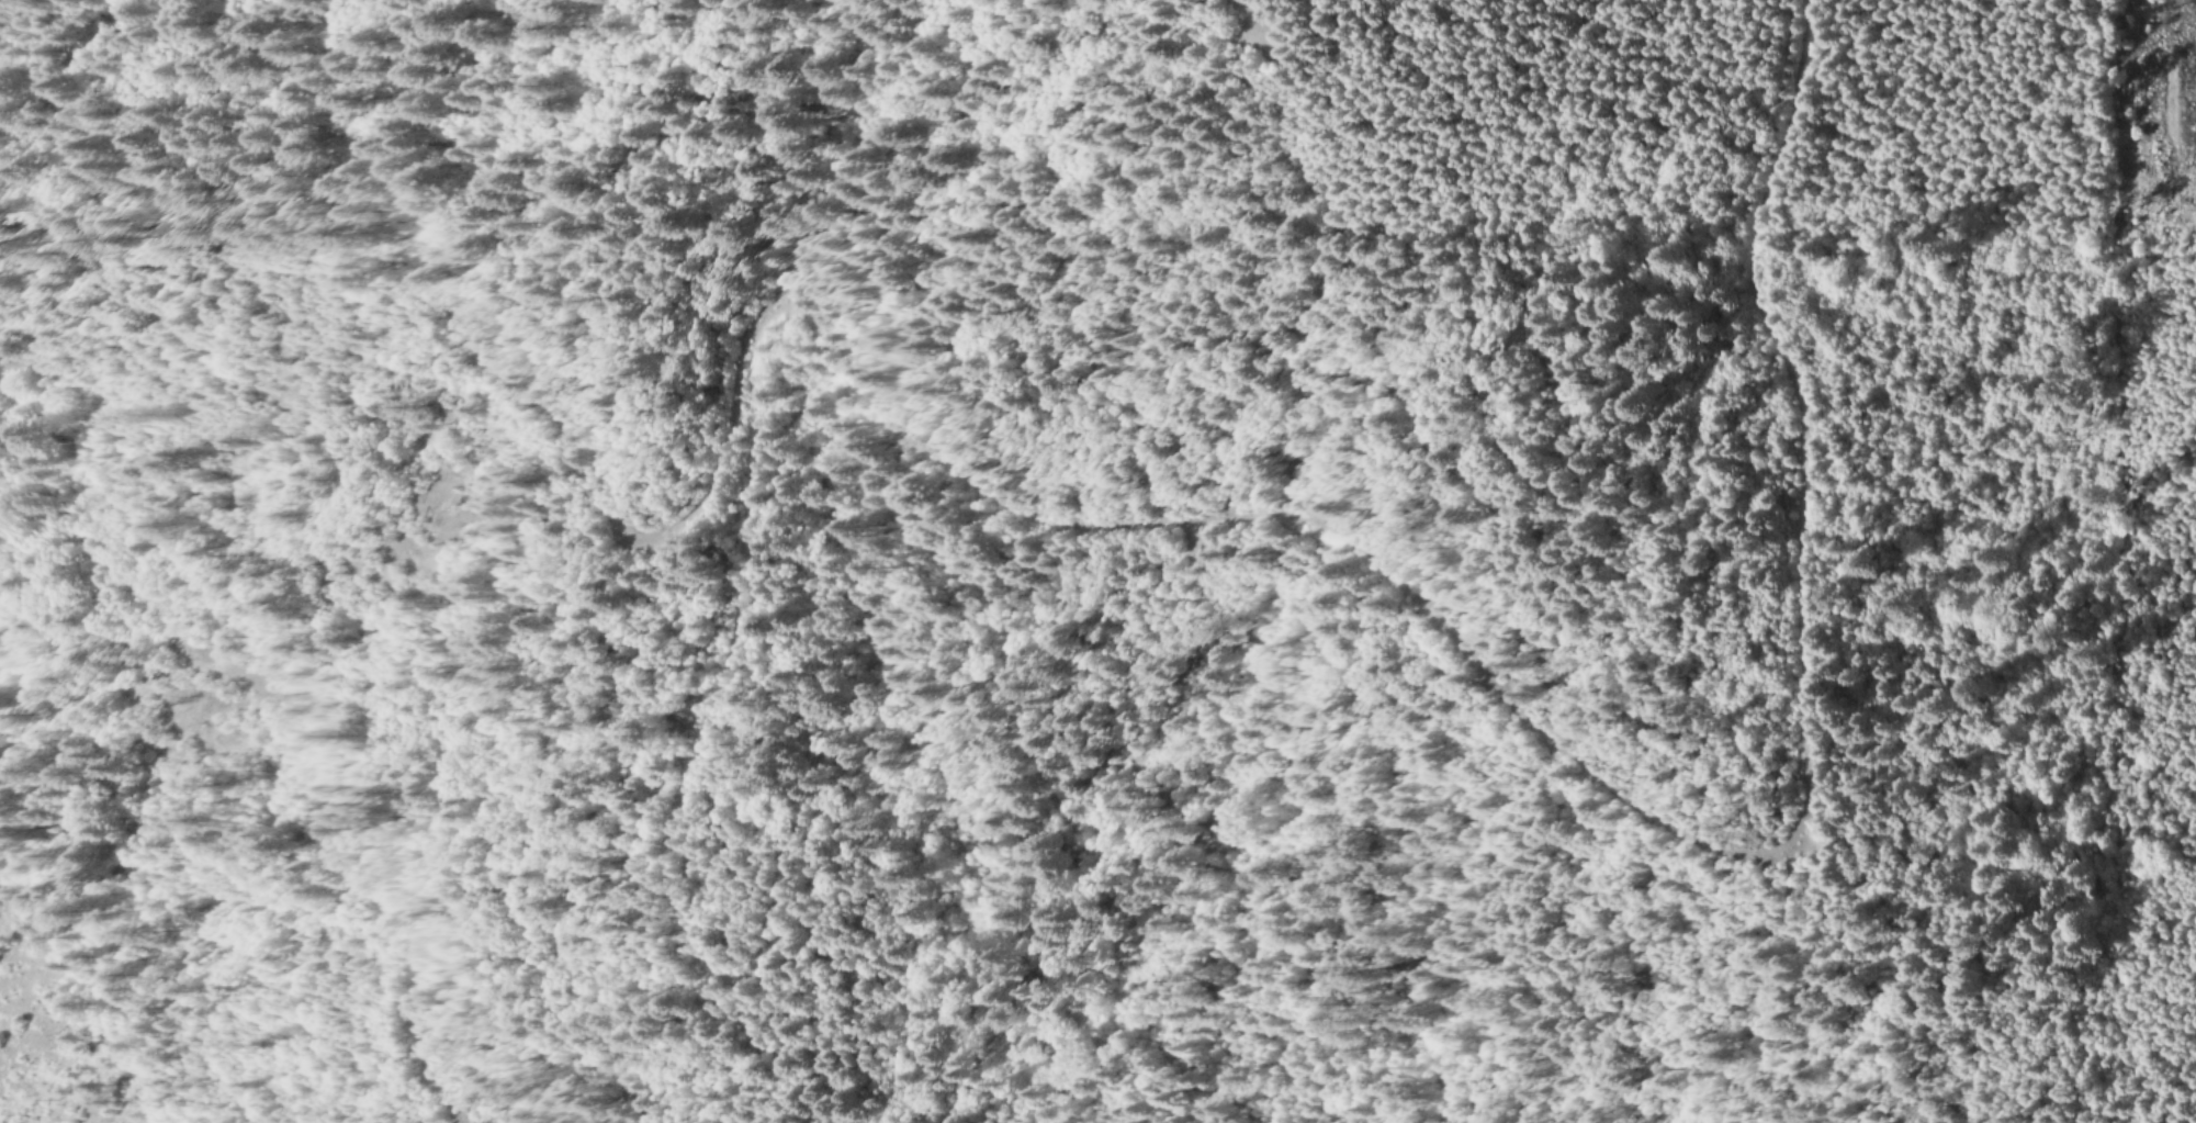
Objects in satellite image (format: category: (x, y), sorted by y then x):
road: (1237, 22)

